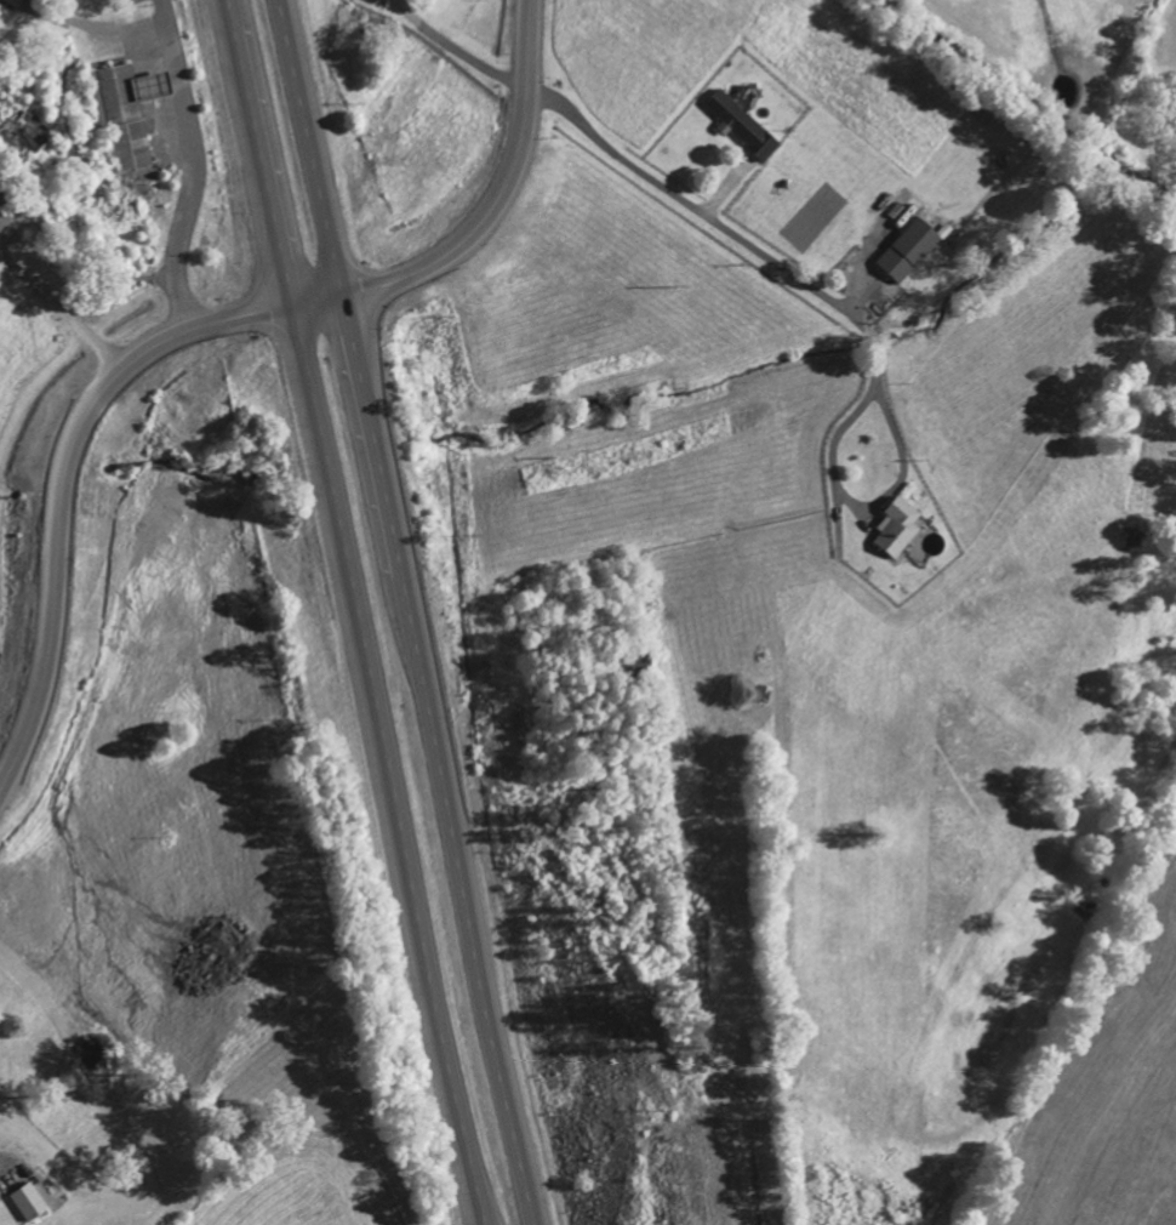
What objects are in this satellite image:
building: (127, 109)
building: (744, 124)
road: (192, 163)
building: (913, 249)
road: (766, 252)
road: (196, 321)
building: (900, 526)
road: (356, 611)
road: (409, 611)
building: (30, 1201)
building: (1, 1207)

